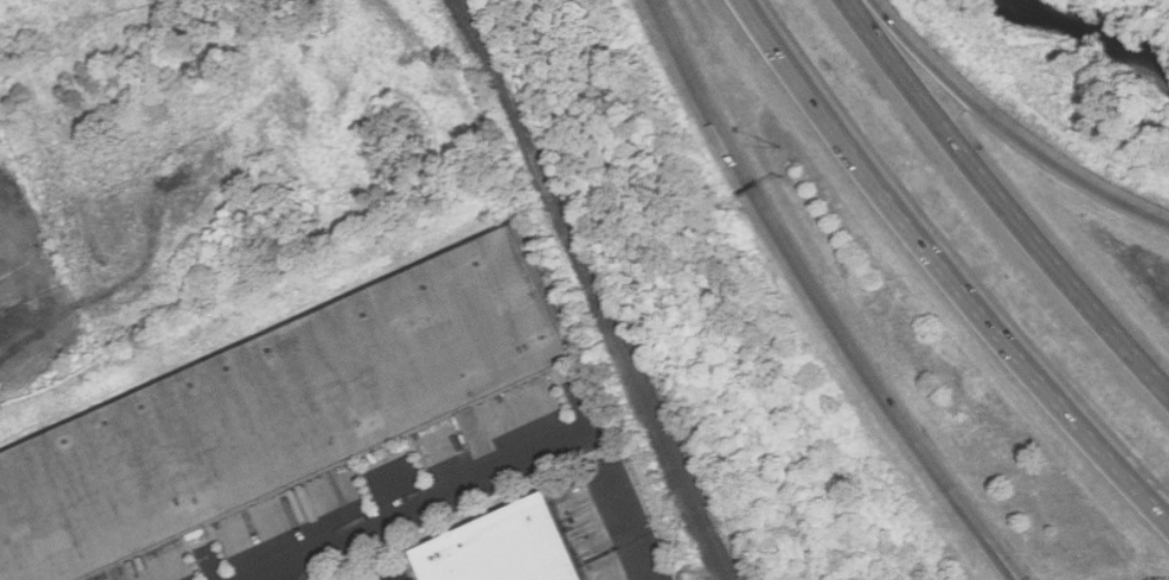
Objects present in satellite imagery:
river: (1093, 20)
railway: (481, 39)
road: (1005, 130)
road: (1002, 201)
road: (944, 270)
road: (805, 276)
railway: (595, 289)
building: (282, 412)
railway: (665, 425)
road: (407, 497)
road: (632, 526)
building: (512, 547)
road: (998, 558)
road: (1003, 558)
road: (276, 569)
road: (384, 578)

